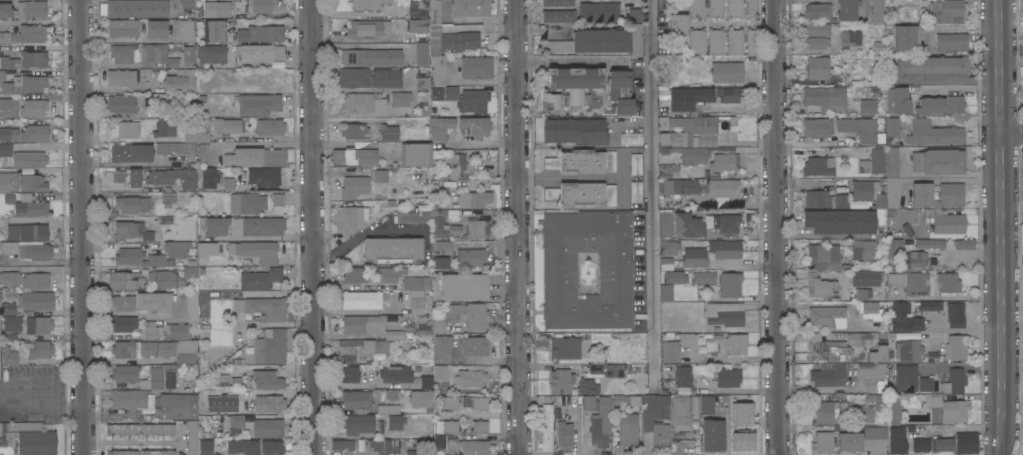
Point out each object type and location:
building: (188, 3)
building: (557, 3)
building: (368, 4)
building: (1021, 4)
building: (261, 6)
building: (470, 7)
building: (556, 7)
building: (137, 8)
building: (216, 8)
building: (418, 8)
building: (696, 8)
building: (715, 8)
building: (739, 8)
building: (30, 9)
building: (5, 10)
building: (846, 10)
building: (434, 11)
building: (600, 11)
building: (818, 11)
building: (877, 11)
building: (946, 11)
building: (636, 13)
building: (907, 14)
building: (559, 16)
building: (678, 23)
building: (417, 25)
building: (123, 27)
building: (156, 28)
building: (367, 28)
building: (816, 29)
building: (187, 30)
building: (214, 30)
building: (876, 31)
building: (261, 33)
building: (30, 34)
building: (5, 36)
building: (635, 38)
building: (905, 38)
building: (434, 39)
building: (850, 39)
building: (601, 40)
building: (696, 40)
building: (715, 40)
building: (735, 40)
building: (750, 40)
building: (459, 41)
building: (821, 43)
building: (951, 43)
building: (557, 45)
building: (877, 47)
building: (260, 52)
building: (138, 53)
building: (211, 53)
building: (421, 54)
building: (22, 57)
building: (181, 57)
building: (371, 57)
road: (297, 63)
road: (568, 63)
road: (247, 64)
road: (275, 64)
building: (476, 67)
building: (930, 67)
building: (817, 68)
building: (439, 70)
building: (726, 71)
building: (2, 75)
building: (147, 75)
building: (224, 76)
building: (265, 77)
building: (353, 77)
building: (387, 77)
building: (121, 78)
road: (949, 81)
building: (422, 82)
building: (575, 82)
building: (178, 83)
building: (25, 84)
building: (620, 91)
building: (437, 93)
building: (729, 93)
building: (687, 97)
building: (824, 97)
building: (400, 98)
building: (897, 100)
building: (473, 101)
building: (127, 102)
building: (362, 102)
building: (551, 102)
building: (258, 103)
building: (867, 105)
building: (939, 105)
building: (8, 107)
building: (33, 107)
building: (418, 119)
building: (228, 126)
building: (474, 126)
building: (270, 127)
building: (440, 127)
building: (817, 127)
building: (891, 127)
building: (164, 128)
building: (859, 128)
building: (127, 129)
building: (196, 129)
building: (354, 130)
building: (575, 130)
building: (694, 131)
building: (35, 132)
building: (388, 132)
building: (8, 133)
building: (933, 133)
road: (1012, 134)
building: (630, 138)
building: (880, 138)
building: (663, 139)
road: (257, 144)
building: (176, 147)
building: (5, 149)
building: (131, 152)
building: (204, 153)
building: (415, 153)
building: (694, 155)
building: (244, 156)
building: (275, 156)
building: (354, 156)
building: (29, 158)
building: (582, 161)
building: (724, 161)
building: (890, 161)
building: (937, 161)
building: (872, 162)
building: (636, 164)
building: (462, 166)
building: (818, 166)
building: (665, 170)
building: (119, 174)
building: (1021, 174)
building: (379, 175)
building: (208, 176)
building: (264, 176)
building: (134, 177)
building: (173, 177)
building: (9, 181)
building: (32, 182)
building: (354, 186)
building: (706, 186)
road: (273, 187)
building: (636, 191)
building: (583, 193)
road: (651, 193)
building: (868, 193)
building: (891, 193)
building: (921, 194)
building: (951, 195)
building: (169, 197)
building: (474, 198)
building: (278, 199)
building: (825, 200)
building: (669, 201)
building: (248, 202)
building: (132, 204)
building: (27, 205)
road: (1012, 207)
building: (452, 214)
building: (413, 217)
building: (350, 218)
building: (942, 221)
building: (841, 222)
building: (664, 223)
building: (704, 223)
building: (439, 224)
building: (216, 225)
building: (263, 225)
building: (1022, 225)
road: (82, 227)
road: (314, 227)
road: (518, 227)
road: (777, 227)
road: (1001, 227)
building: (26, 228)
building: (477, 228)
building: (455, 229)
building: (132, 230)
road: (256, 238)
building: (944, 243)
road: (121, 245)
building: (442, 245)
building: (668, 246)
building: (9, 247)
building: (893, 247)
building: (176, 248)
building: (207, 248)
building: (724, 248)
building: (393, 249)
building: (862, 249)
building: (255, 250)
building: (36, 251)
building: (823, 256)
building: (138, 257)
building: (471, 257)
building: (693, 257)
road: (1012, 259)
building: (914, 260)
road: (41, 262)
building: (441, 262)
building: (666, 263)
building: (355, 274)
building: (389, 276)
building: (704, 276)
building: (170, 277)
building: (616, 277)
building: (675, 277)
building: (260, 278)
building: (865, 278)
building: (10, 279)
building: (126, 279)
building: (417, 279)
building: (35, 280)
building: (910, 282)
building: (947, 282)
building: (729, 284)
building: (818, 285)
building: (464, 286)
building: (665, 292)
building: (860, 294)
building: (0, 296)
building: (361, 299)
building: (37, 300)
building: (154, 301)
building: (417, 301)
building: (122, 302)
road: (823, 304)
building: (929, 305)
building: (192, 306)
building: (263, 307)
building: (7, 308)
building: (725, 313)
building: (955, 314)
road: (142, 315)
building: (467, 315)
building: (826, 316)
building: (870, 317)
building: (905, 319)
building: (361, 323)
building: (122, 324)
building: (439, 325)
building: (37, 326)
building: (11, 327)
building: (152, 330)
building: (394, 334)
building: (685, 339)
building: (865, 339)
building: (711, 344)
building: (736, 344)
building: (475, 345)
building: (270, 346)
building: (565, 347)
building: (376, 348)
building: (442, 348)
building: (954, 349)
building: (908, 350)
building: (669, 351)
building: (829, 351)
building: (40, 352)
building: (881, 353)
building: (932, 355)
building: (9, 356)
road: (730, 358)
building: (167, 368)
building: (637, 368)
building: (595, 369)
building: (614, 369)
building: (870, 371)
building: (441, 372)
building: (125, 373)
building: (348, 374)
building: (680, 374)
building: (396, 375)
building: (827, 375)
building: (470, 377)
building: (727, 377)
building: (900, 378)
building: (267, 379)
building: (152, 380)
building: (956, 380)
building: (426, 381)
building: (561, 381)
building: (234, 382)
road: (33, 384)
building: (587, 386)
road: (1012, 392)
building: (375, 394)
building: (392, 394)
building: (129, 398)
building: (419, 398)
building: (356, 399)
building: (625, 399)
building: (450, 402)
building: (475, 402)
building: (588, 402)
building: (877, 402)
building: (269, 403)
building: (603, 403)
road: (41, 404)
building: (232, 408)
building: (388, 408)
building: (947, 408)
building: (894, 410)
building: (822, 412)
building: (741, 414)
building: (860, 414)
building: (683, 415)
building: (934, 415)
building: (655, 418)
building: (233, 420)
building: (396, 422)
building: (710, 423)
building: (357, 424)
building: (450, 426)
building: (479, 426)
building: (547, 426)
building: (141, 428)
building: (266, 428)
building: (627, 428)
road: (958, 429)
building: (597, 431)
building: (874, 432)
building: (563, 436)
building: (193, 437)
building: (25, 439)
building: (440, 440)
building: (849, 440)
building: (897, 440)
building: (740, 441)
building: (823, 442)
building: (965, 443)
building: (344, 444)
building: (920, 444)
building: (384, 445)
building: (941, 445)
building: (205, 447)
building: (243, 447)
building: (272, 447)
building: (474, 447)
building: (139, 452)
building: (412, 452)
park: (1022, 453)

